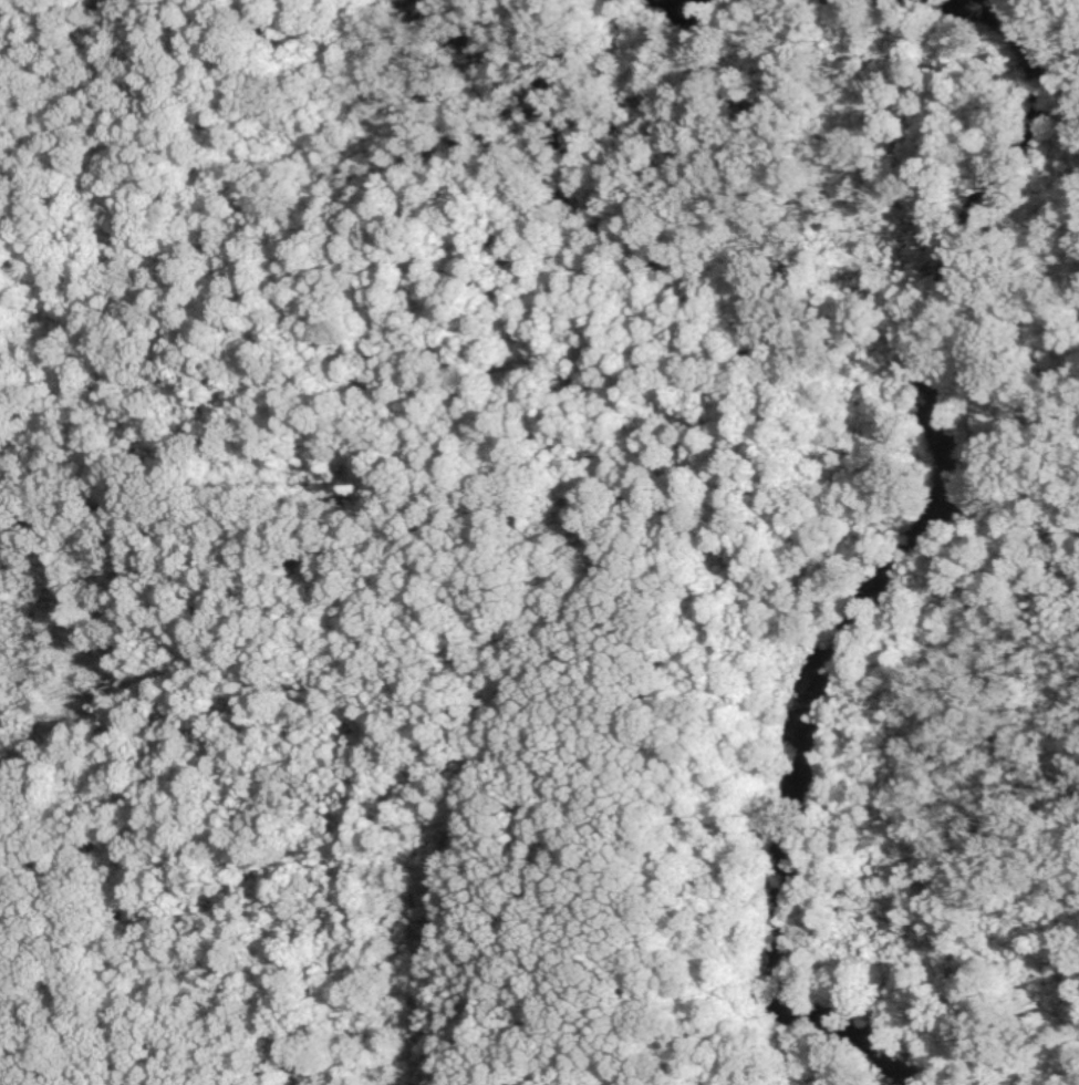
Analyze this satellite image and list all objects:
river: (909, 542)

